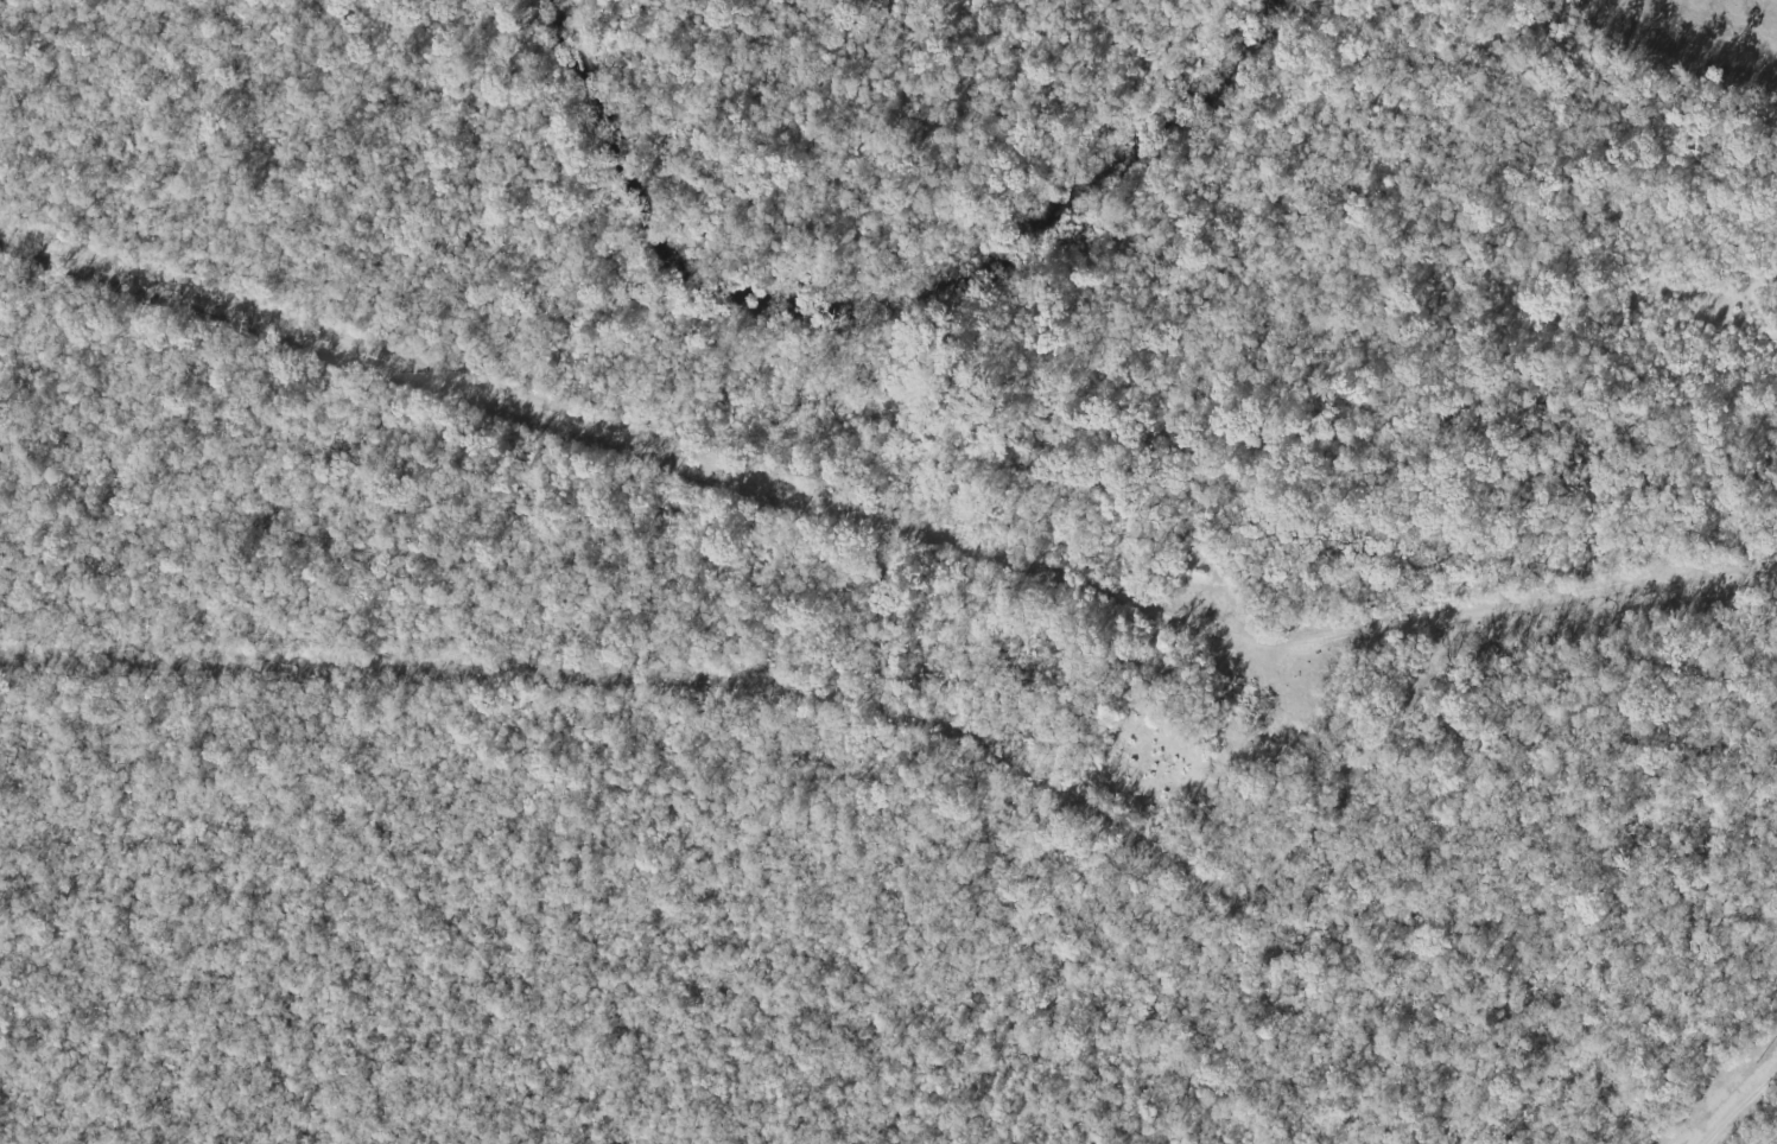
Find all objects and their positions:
road: (1534, 605)
road: (1739, 1104)

